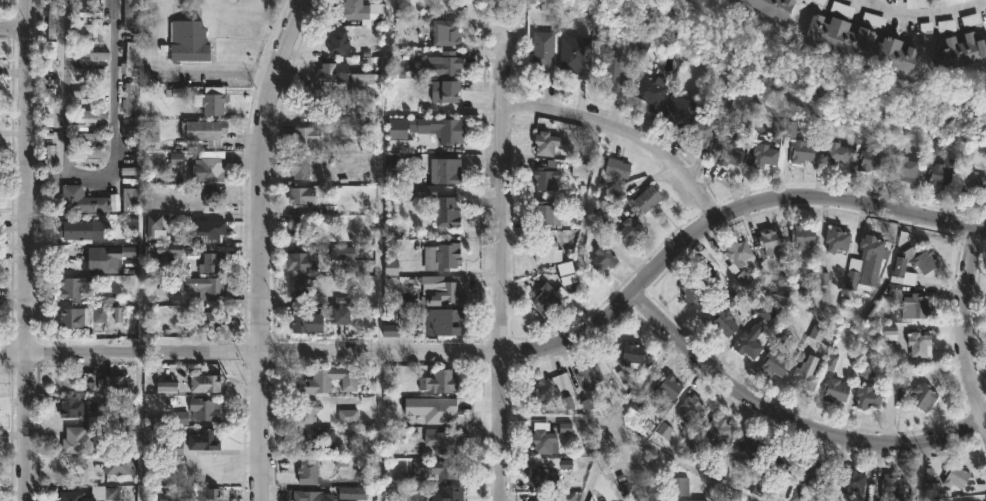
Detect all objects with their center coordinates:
building: (769, 6)
building: (351, 10)
building: (90, 12)
building: (129, 15)
road: (924, 16)
building: (54, 25)
road: (13, 27)
building: (93, 29)
building: (445, 31)
building: (189, 40)
building: (337, 41)
building: (858, 43)
building: (960, 49)
building: (543, 50)
building: (101, 57)
building: (129, 57)
building: (574, 60)
building: (448, 63)
building: (612, 68)
road: (222, 71)
building: (330, 72)
road: (46, 74)
building: (443, 90)
road: (120, 91)
building: (651, 91)
building: (176, 94)
building: (131, 97)
building: (88, 98)
building: (213, 100)
road: (68, 108)
building: (677, 110)
building: (55, 114)
building: (91, 115)
building: (442, 127)
building: (702, 131)
road: (624, 132)
building: (203, 133)
building: (302, 136)
building: (90, 139)
building: (544, 142)
building: (800, 150)
building: (836, 152)
building: (763, 153)
building: (725, 154)
building: (872, 159)
building: (936, 164)
building: (298, 166)
building: (615, 168)
building: (905, 168)
building: (206, 169)
building: (446, 170)
building: (543, 175)
building: (973, 182)
building: (300, 194)
building: (213, 197)
building: (645, 198)
building: (76, 200)
building: (445, 210)
building: (545, 213)
building: (154, 226)
building: (80, 229)
building: (297, 229)
building: (630, 229)
building: (203, 230)
building: (802, 235)
building: (836, 238)
building: (768, 242)
road: (260, 247)
building: (543, 248)
road: (26, 250)
road: (387, 253)
building: (343, 254)
building: (443, 254)
building: (738, 255)
building: (108, 256)
building: (602, 258)
building: (924, 259)
building: (300, 260)
building: (866, 261)
building: (211, 262)
road: (501, 268)
building: (901, 272)
building: (568, 274)
building: (72, 286)
building: (207, 286)
building: (306, 287)
building: (444, 289)
building: (692, 290)
building: (547, 298)
building: (917, 304)
building: (81, 316)
building: (206, 319)
building: (305, 320)
building: (443, 321)
building: (724, 321)
road: (963, 327)
building: (391, 332)
building: (749, 341)
building: (919, 344)
road: (522, 350)
building: (630, 352)
building: (773, 363)
road: (884, 371)
building: (588, 373)
road: (141, 374)
building: (804, 375)
building: (327, 380)
building: (439, 381)
building: (207, 383)
building: (667, 386)
building: (833, 389)
building: (544, 390)
building: (867, 397)
building: (923, 397)
building: (76, 405)
building: (692, 407)
building: (202, 409)
building: (306, 410)
road: (619, 412)
road: (789, 416)
building: (349, 417)
building: (718, 432)
road: (631, 436)
building: (80, 439)
building: (542, 439)
building: (202, 440)
building: (441, 440)
building: (305, 445)
building: (745, 450)
building: (780, 461)
building: (437, 468)
building: (306, 471)
building: (544, 471)
building: (954, 475)
building: (819, 476)
building: (852, 481)
building: (891, 486)
building: (682, 487)
building: (446, 493)
building: (203, 494)
building: (315, 494)
building: (74, 496)
building: (540, 500)
building: (660, 500)

